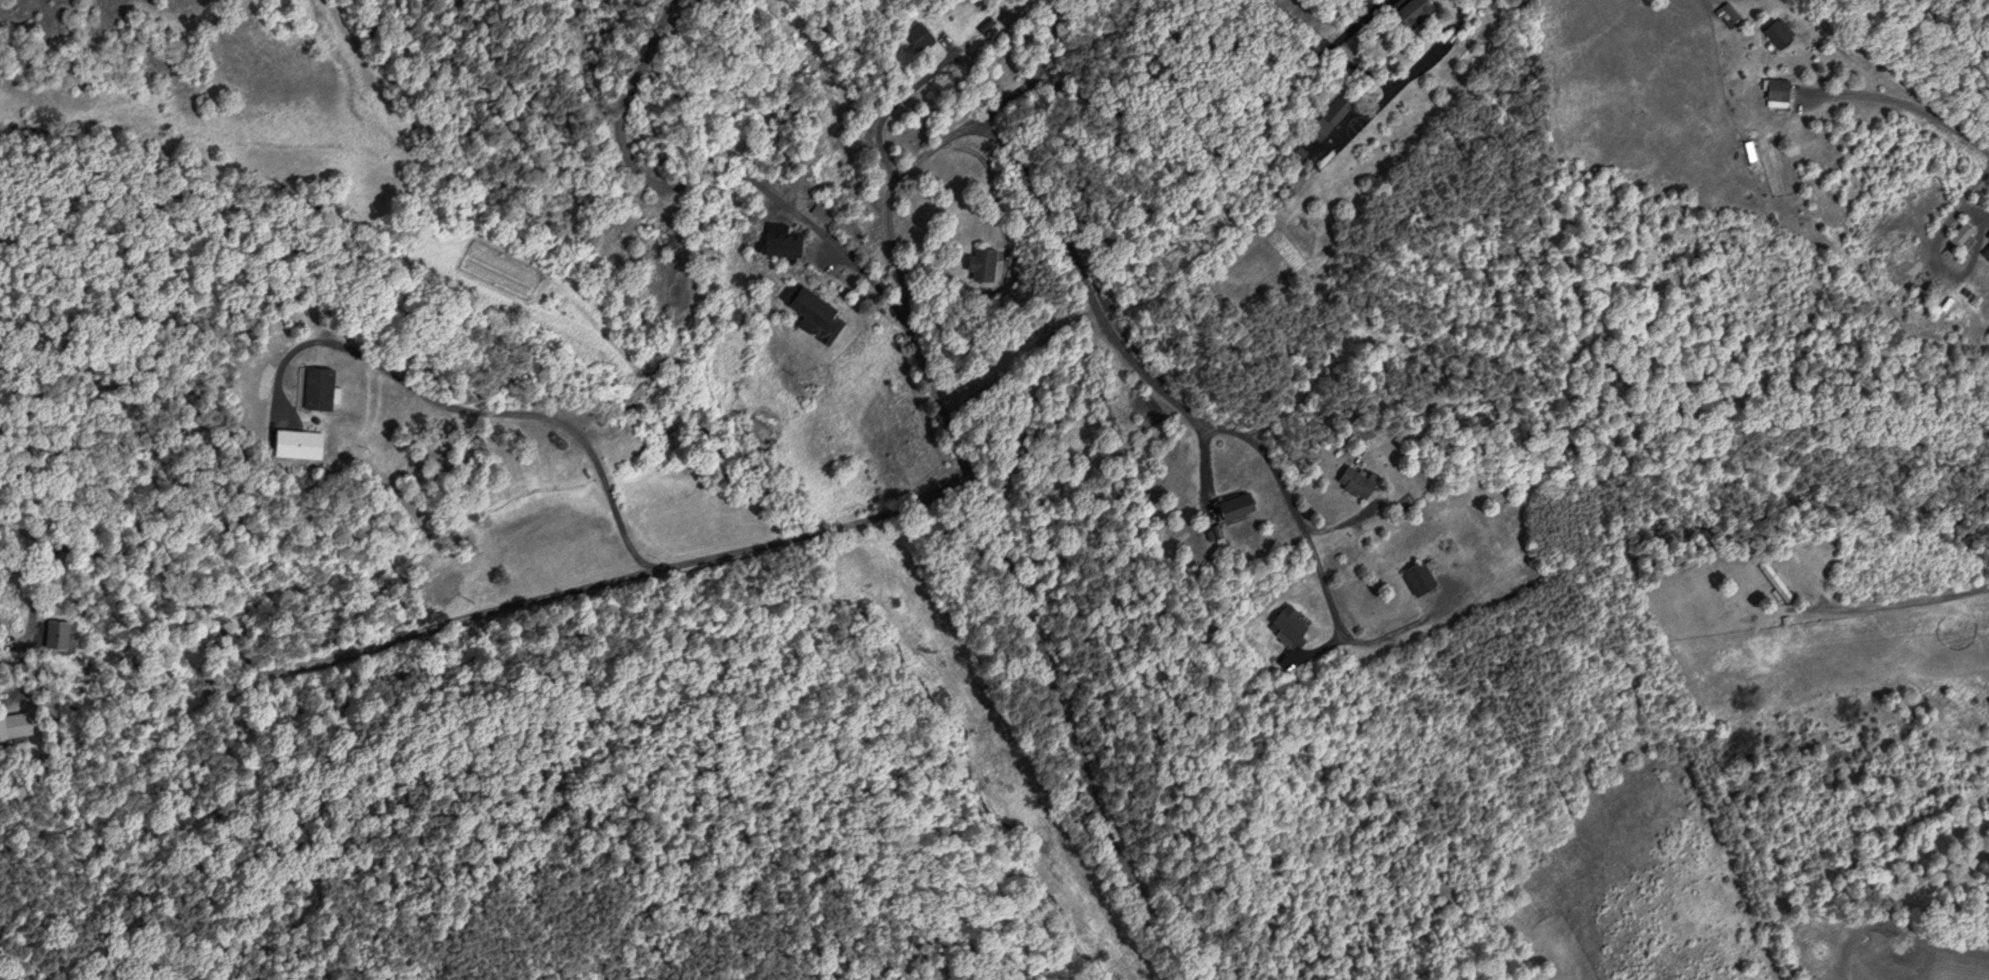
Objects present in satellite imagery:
building: (1417, 11)
road: (1347, 29)
building: (1782, 34)
building: (921, 35)
road: (1028, 77)
road: (1403, 77)
road: (918, 81)
building: (1784, 89)
road: (1908, 103)
building: (1331, 115)
road: (1169, 118)
road: (1355, 124)
road: (701, 173)
building: (1964, 233)
building: (672, 237)
road: (891, 242)
building: (785, 244)
building: (982, 264)
building: (812, 306)
building: (320, 386)
building: (633, 399)
road: (470, 410)
building: (301, 442)
road: (1202, 466)
building: (1358, 482)
building: (1238, 507)
building: (1420, 577)
building: (1777, 581)
road: (1899, 600)
road: (506, 602)
building: (1295, 623)
road: (1404, 625)
road: (1313, 649)
building: (15, 725)

